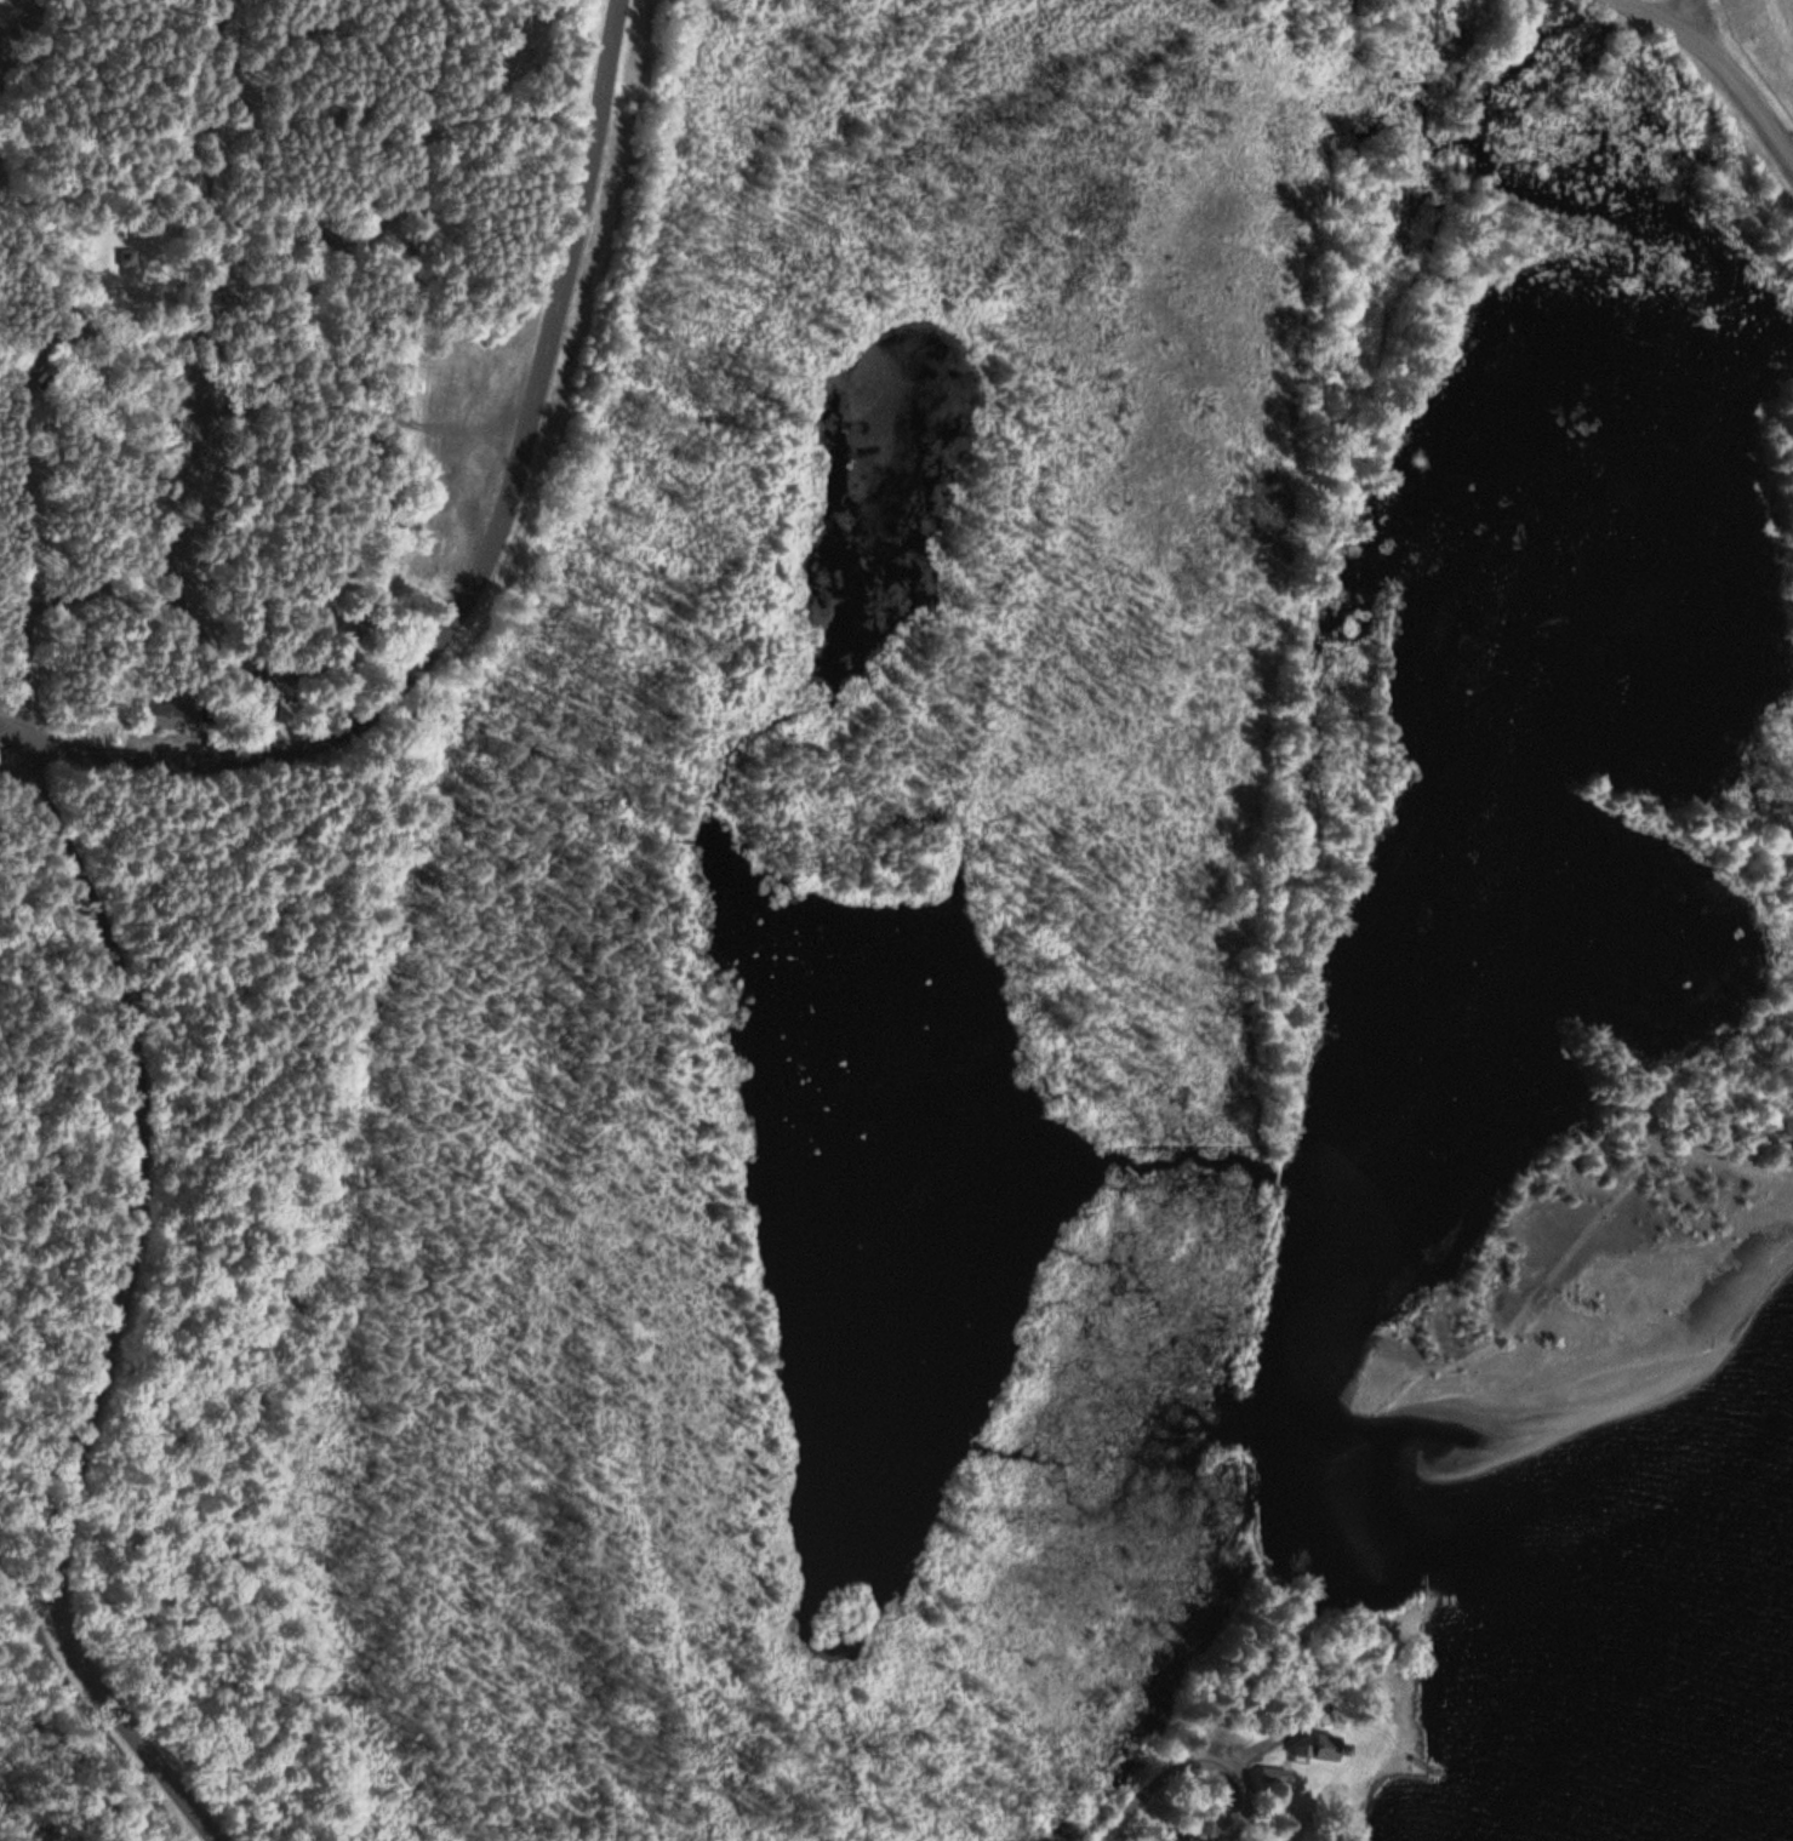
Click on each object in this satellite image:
road: (1692, 19)
road: (21, 21)
park: (29, 21)
road: (1720, 65)
road: (486, 551)
road: (118, 1300)
road: (48, 1359)
road: (29, 1597)
lighthouse: (1336, 1738)
building: (1273, 1776)
road: (1113, 1826)

